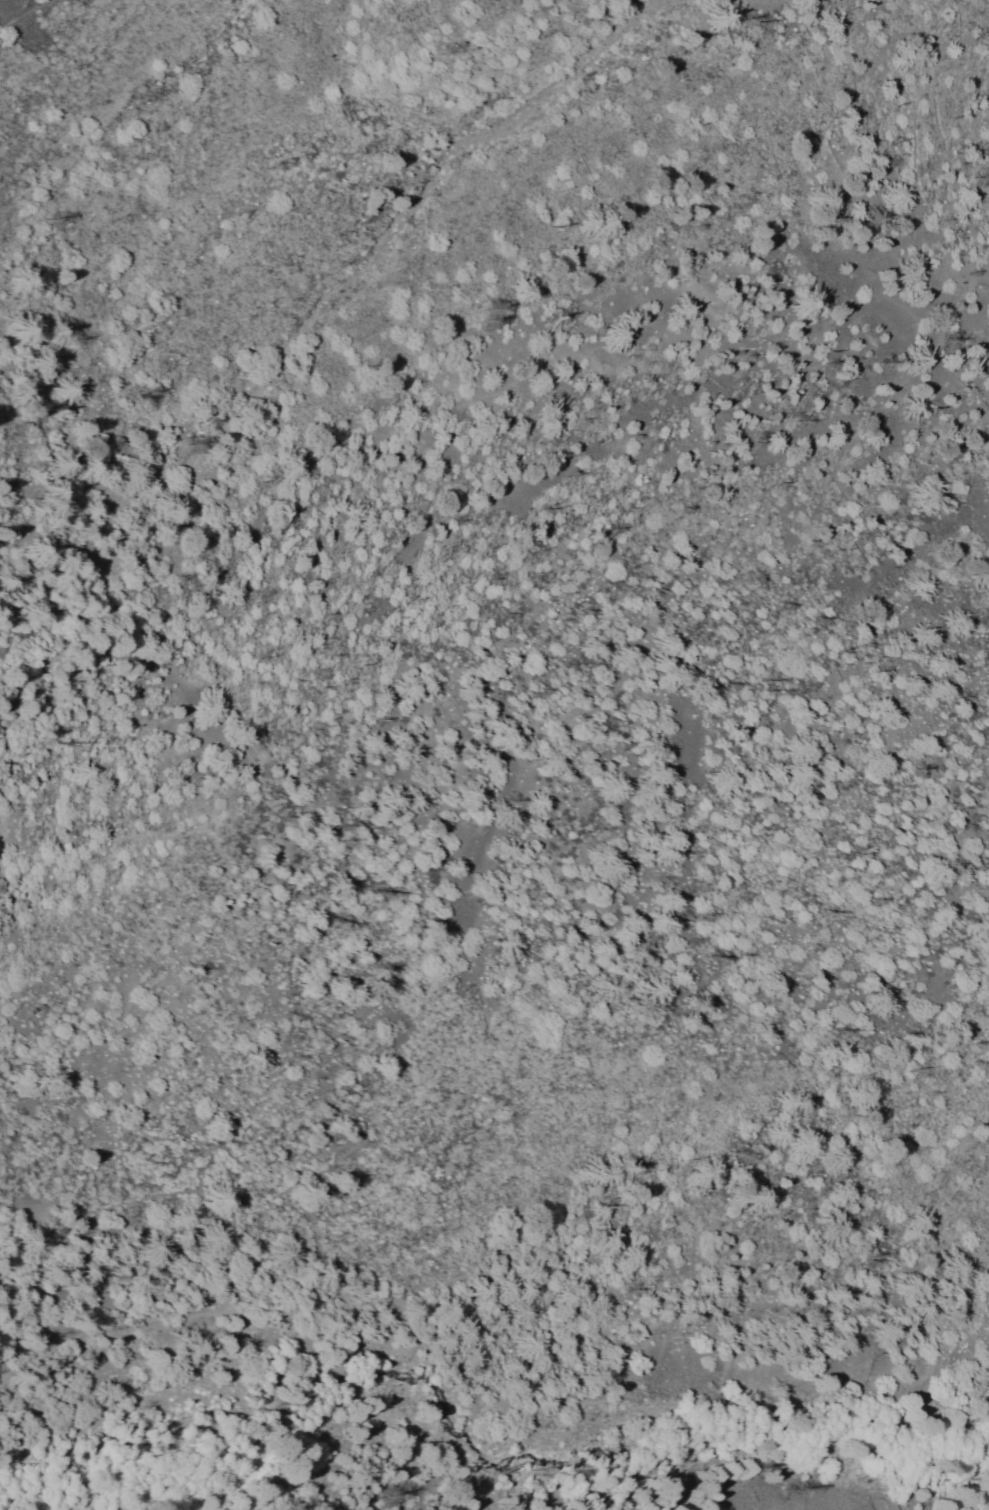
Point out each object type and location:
road: (30, 12)
road: (472, 54)
road: (933, 97)
road: (2, 139)
road: (1, 313)
road: (46, 422)
road: (80, 648)
road: (354, 1149)
road: (92, 1319)
building: (419, 1322)
building: (188, 1354)
building: (108, 1361)
road: (479, 1387)
building: (7, 1433)

